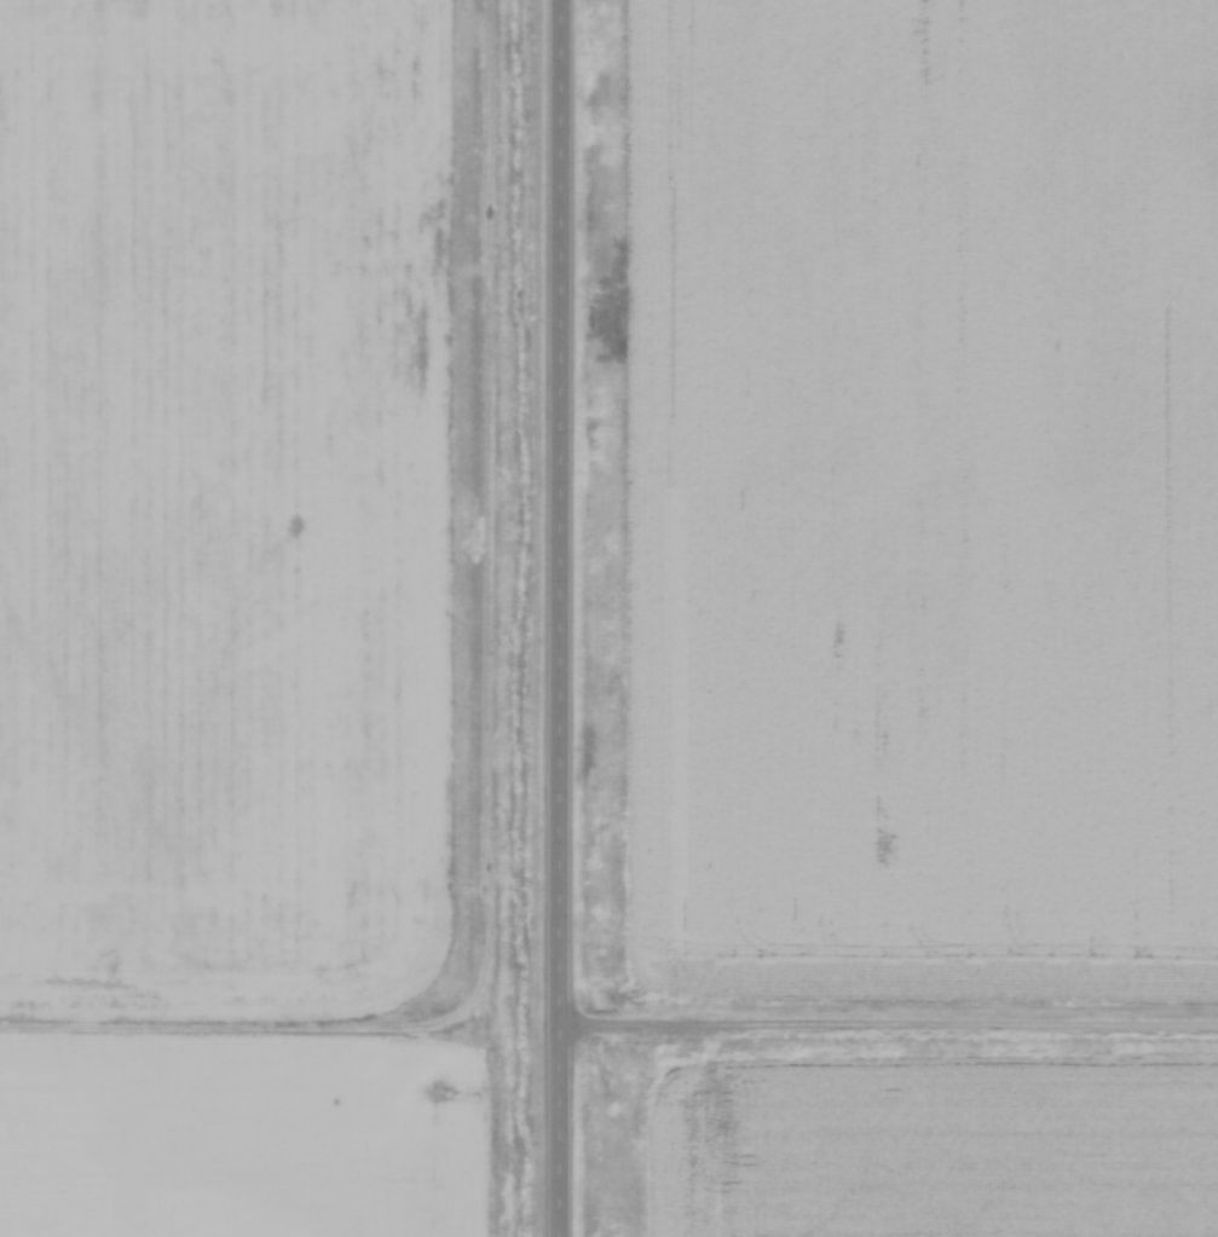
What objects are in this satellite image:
road: (567, 618)
road: (496, 750)
road: (891, 1033)

